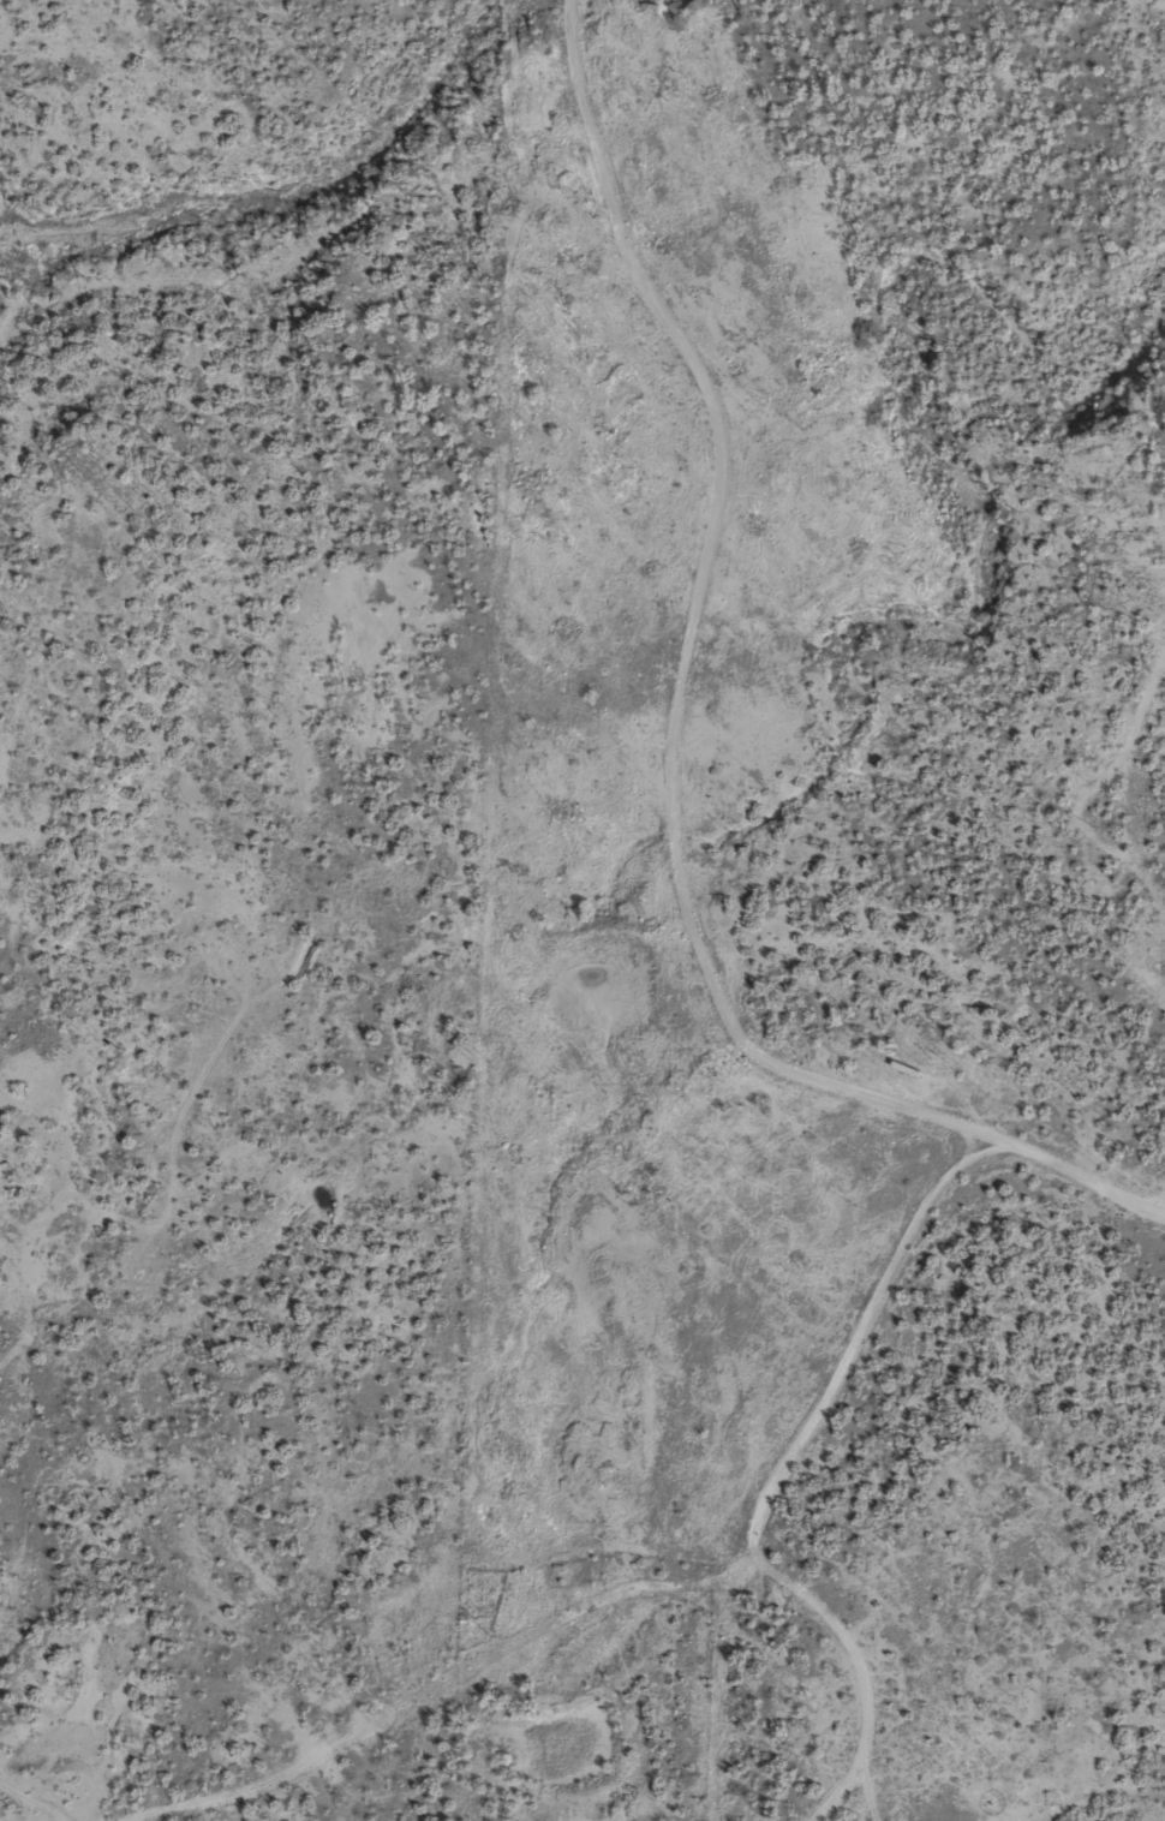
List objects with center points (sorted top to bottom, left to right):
road: (700, 633)
road: (645, 1410)

